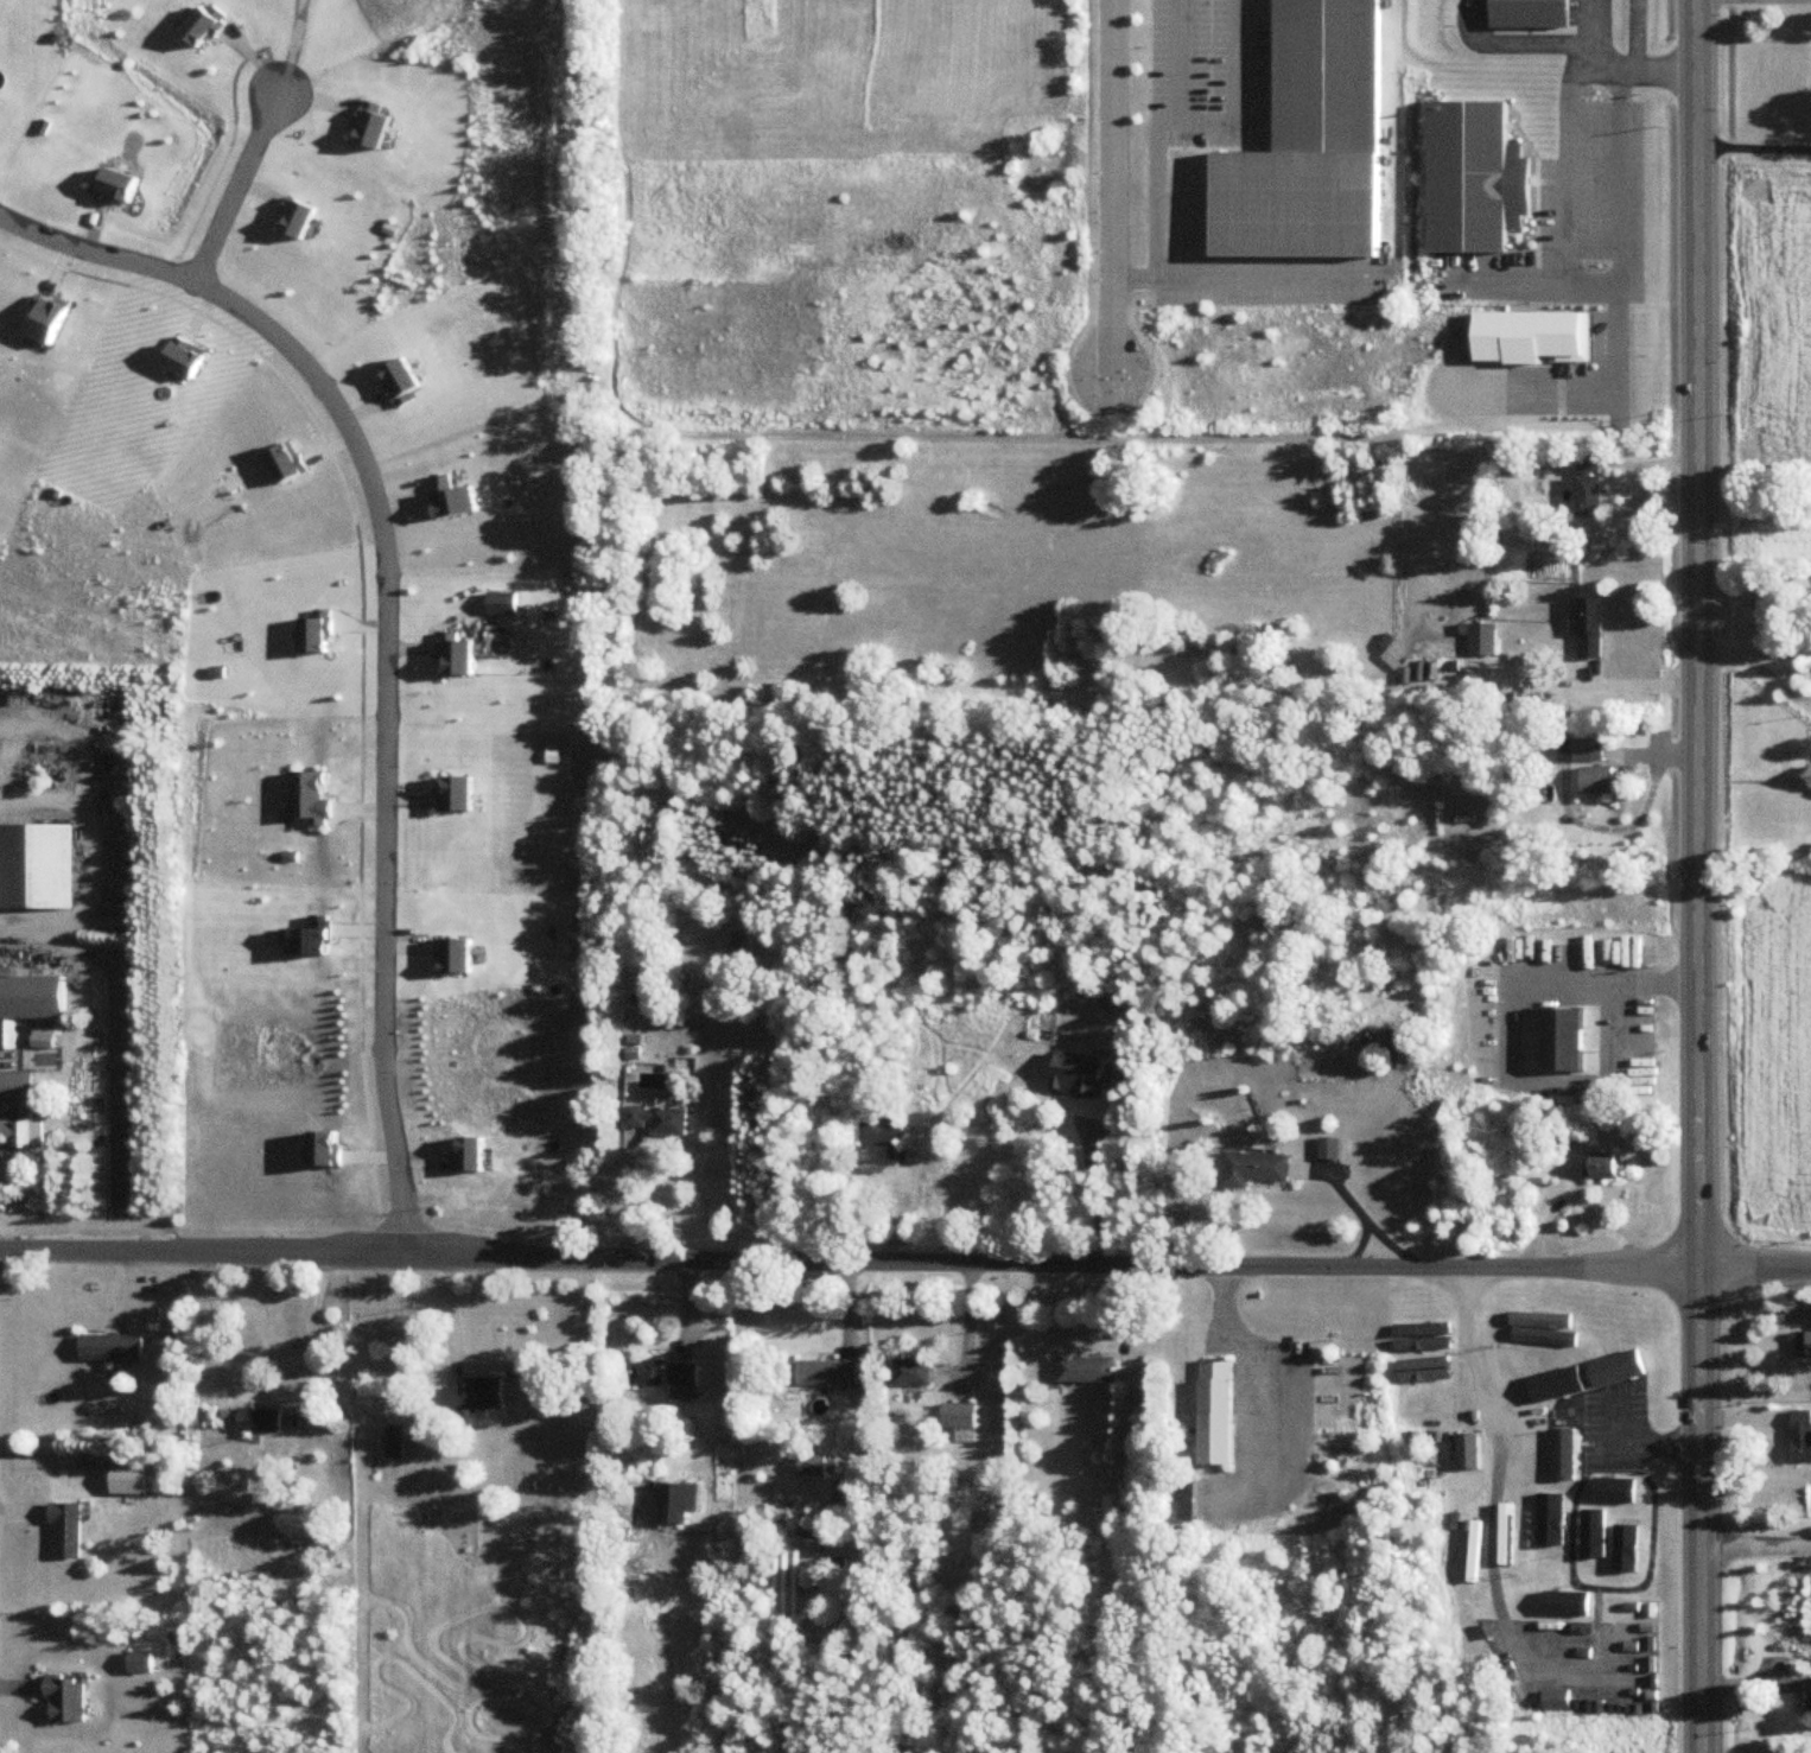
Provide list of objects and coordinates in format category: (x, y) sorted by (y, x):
building: (1526, 11)
road: (1594, 31)
road: (1635, 32)
road: (1517, 37)
road: (292, 49)
parking lot: (1212, 71)
road: (1594, 103)
road: (1265, 121)
road: (1210, 123)
building: (1311, 142)
road: (1755, 147)
building: (1472, 173)
road: (1108, 182)
road: (1151, 182)
road: (1529, 184)
road: (229, 188)
road: (1563, 236)
road: (1518, 242)
road: (1593, 243)
road: (1260, 269)
road: (1130, 271)
road: (1511, 272)
parking lot: (1276, 281)
building: (1542, 332)
road: (1582, 389)
road: (1108, 417)
building: (1588, 488)
building: (1589, 629)
road: (386, 630)
road: (1701, 634)
building: (1481, 639)
road: (1720, 653)
road: (1774, 653)
road: (1774, 678)
road: (1640, 687)
building: (1581, 750)
building: (1597, 780)
building: (36, 864)
building: (30, 996)
building: (42, 1039)
building: (1553, 1041)
road: (1507, 1042)
building: (1400, 1047)
building: (18, 1112)
building: (660, 1120)
building: (878, 1148)
building: (939, 1166)
building: (1257, 1169)
building: (1607, 1169)
road: (1093, 1190)
road: (628, 1202)
road: (904, 1262)
road: (444, 1321)
road: (968, 1326)
building: (1803, 1347)
building: (109, 1348)
building: (1627, 1351)
road: (860, 1360)
building: (1586, 1364)
building: (1087, 1370)
building: (1553, 1370)
building: (911, 1373)
building: (663, 1374)
building: (827, 1374)
building: (1507, 1376)
road: (262, 1386)
building: (476, 1396)
building: (1215, 1412)
building: (959, 1417)
building: (259, 1421)
building: (1802, 1436)
road: (1639, 1440)
building: (395, 1443)
road: (1499, 1446)
building: (1470, 1452)
building: (1564, 1454)
building: (1431, 1461)
building: (812, 1467)
building: (127, 1480)
building: (1614, 1491)
building: (676, 1504)
building: (1112, 1506)
road: (1704, 1511)
building: (1552, 1524)
building: (64, 1531)
road: (1758, 1546)
building: (1623, 1548)
building: (1564, 1607)
building: (1466, 1632)
building: (140, 1664)
building: (1810, 1696)
building: (65, 1702)

